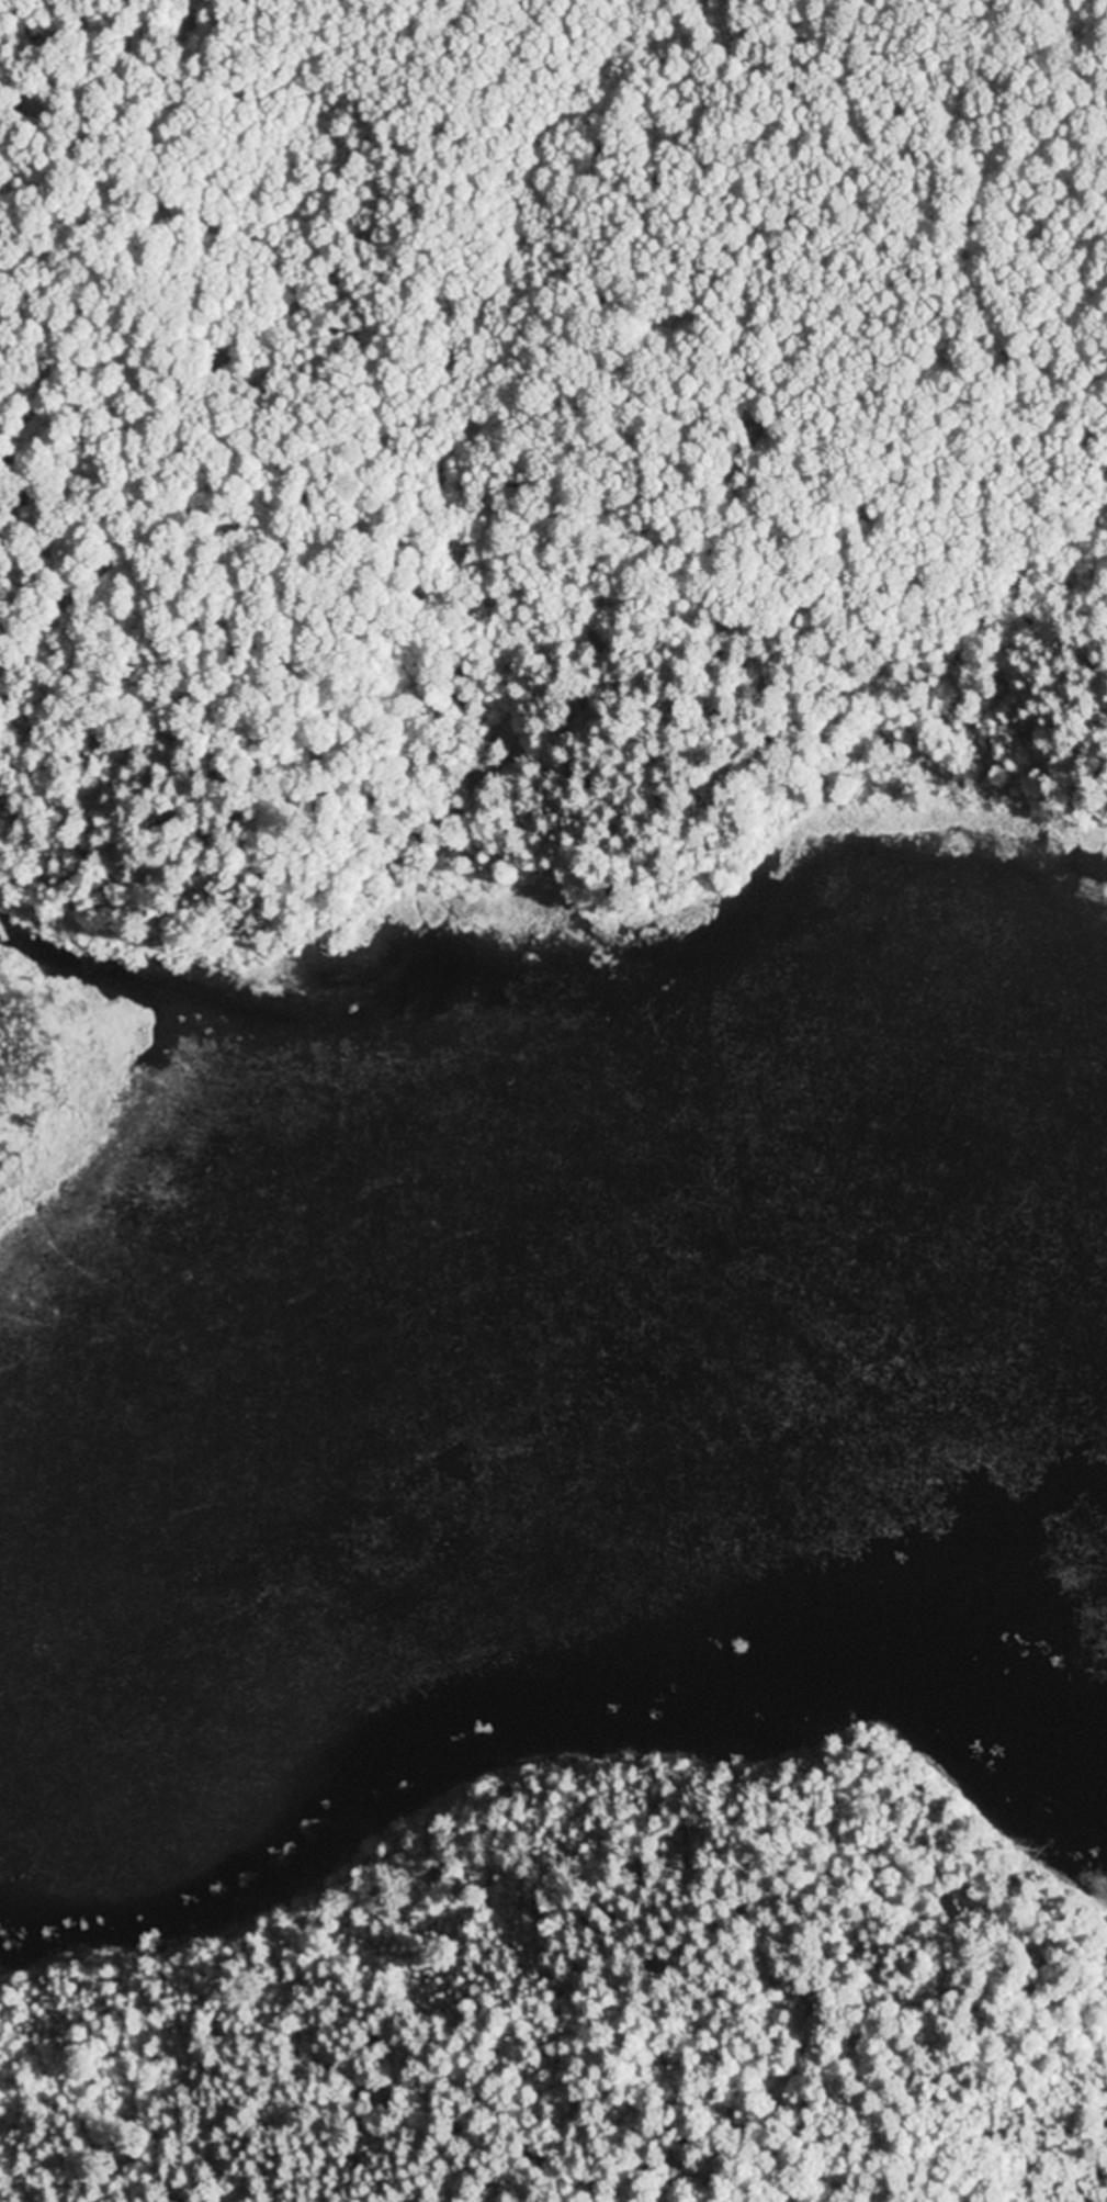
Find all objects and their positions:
road: (323, 748)

